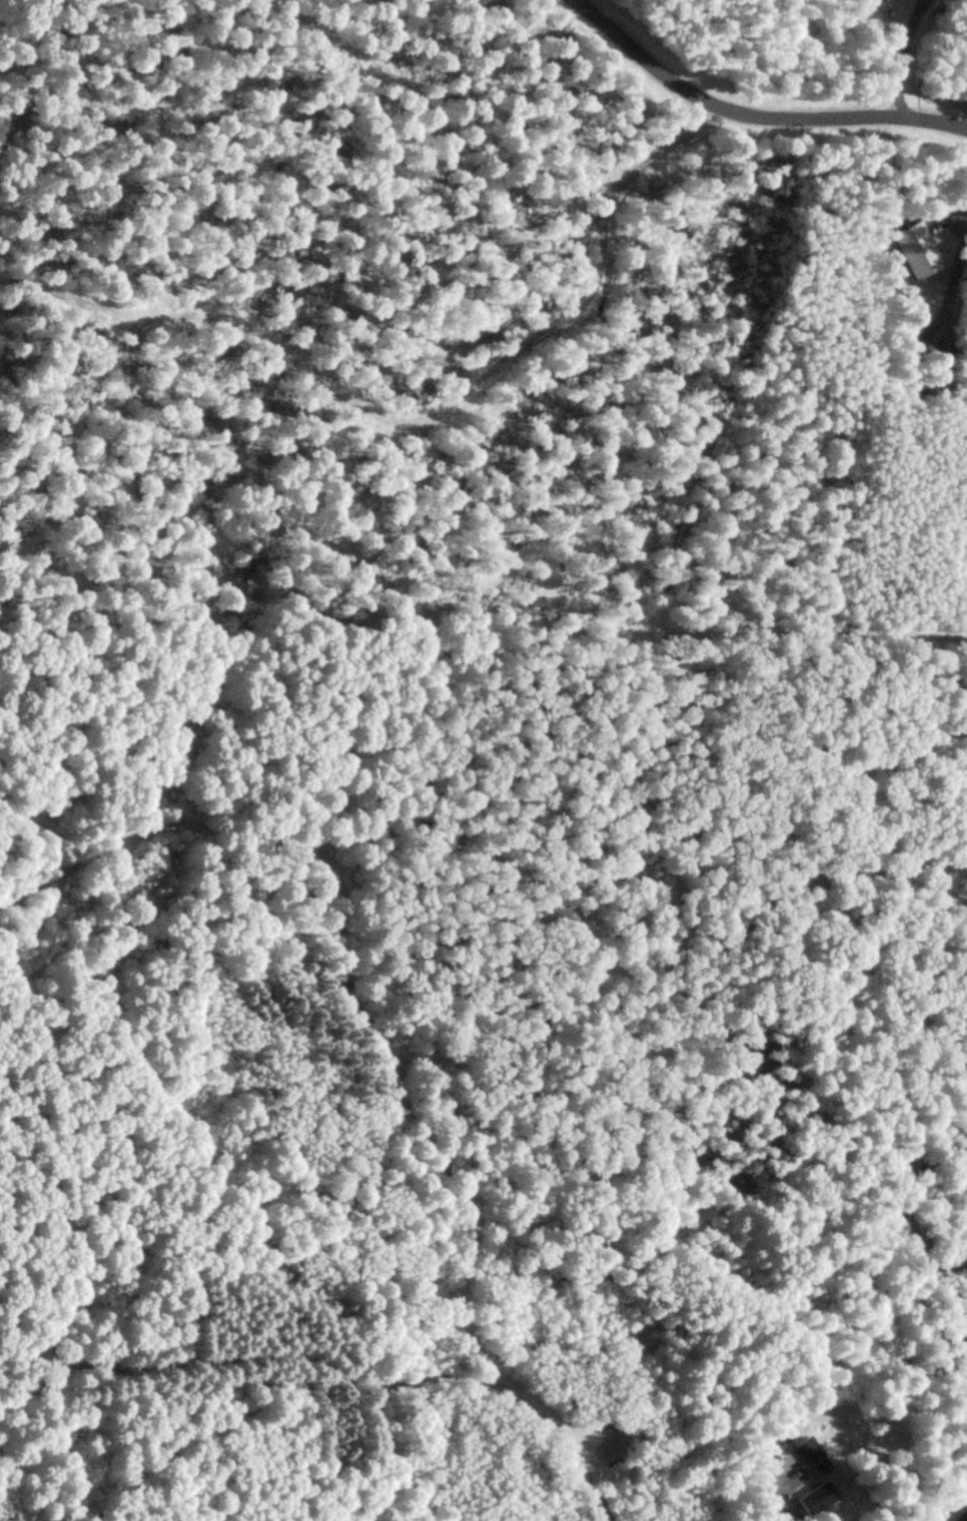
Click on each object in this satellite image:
road: (751, 117)
building: (810, 1460)
building: (819, 1499)
road: (964, 1518)

